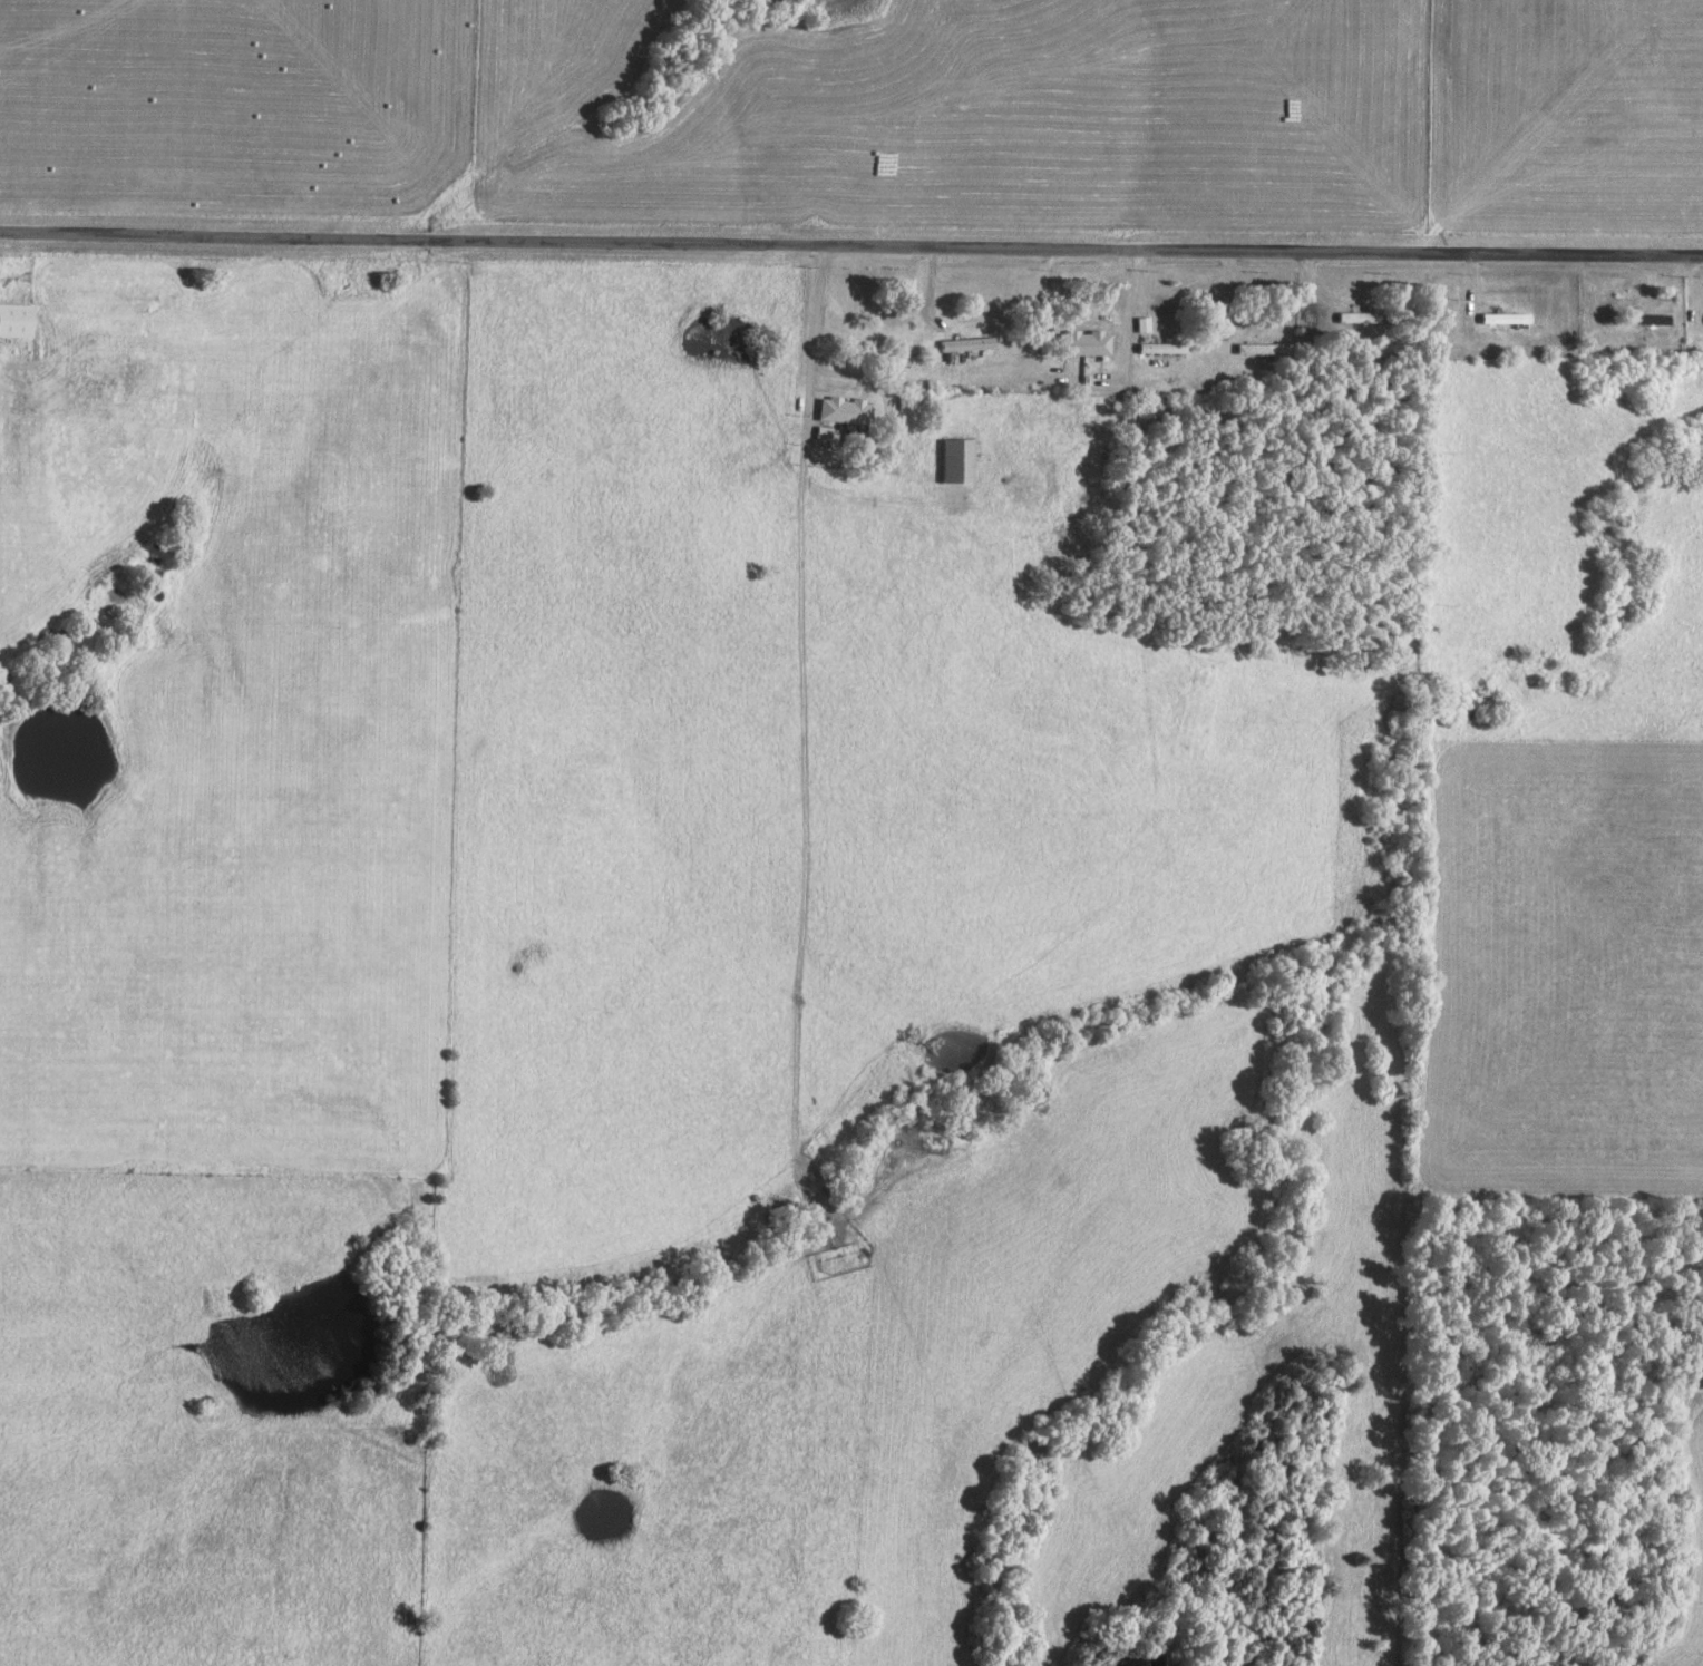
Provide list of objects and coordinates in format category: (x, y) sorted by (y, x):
road: (850, 247)
building: (18, 320)
road: (815, 340)
building: (1086, 343)
building: (970, 344)
building: (846, 410)
building: (962, 461)

